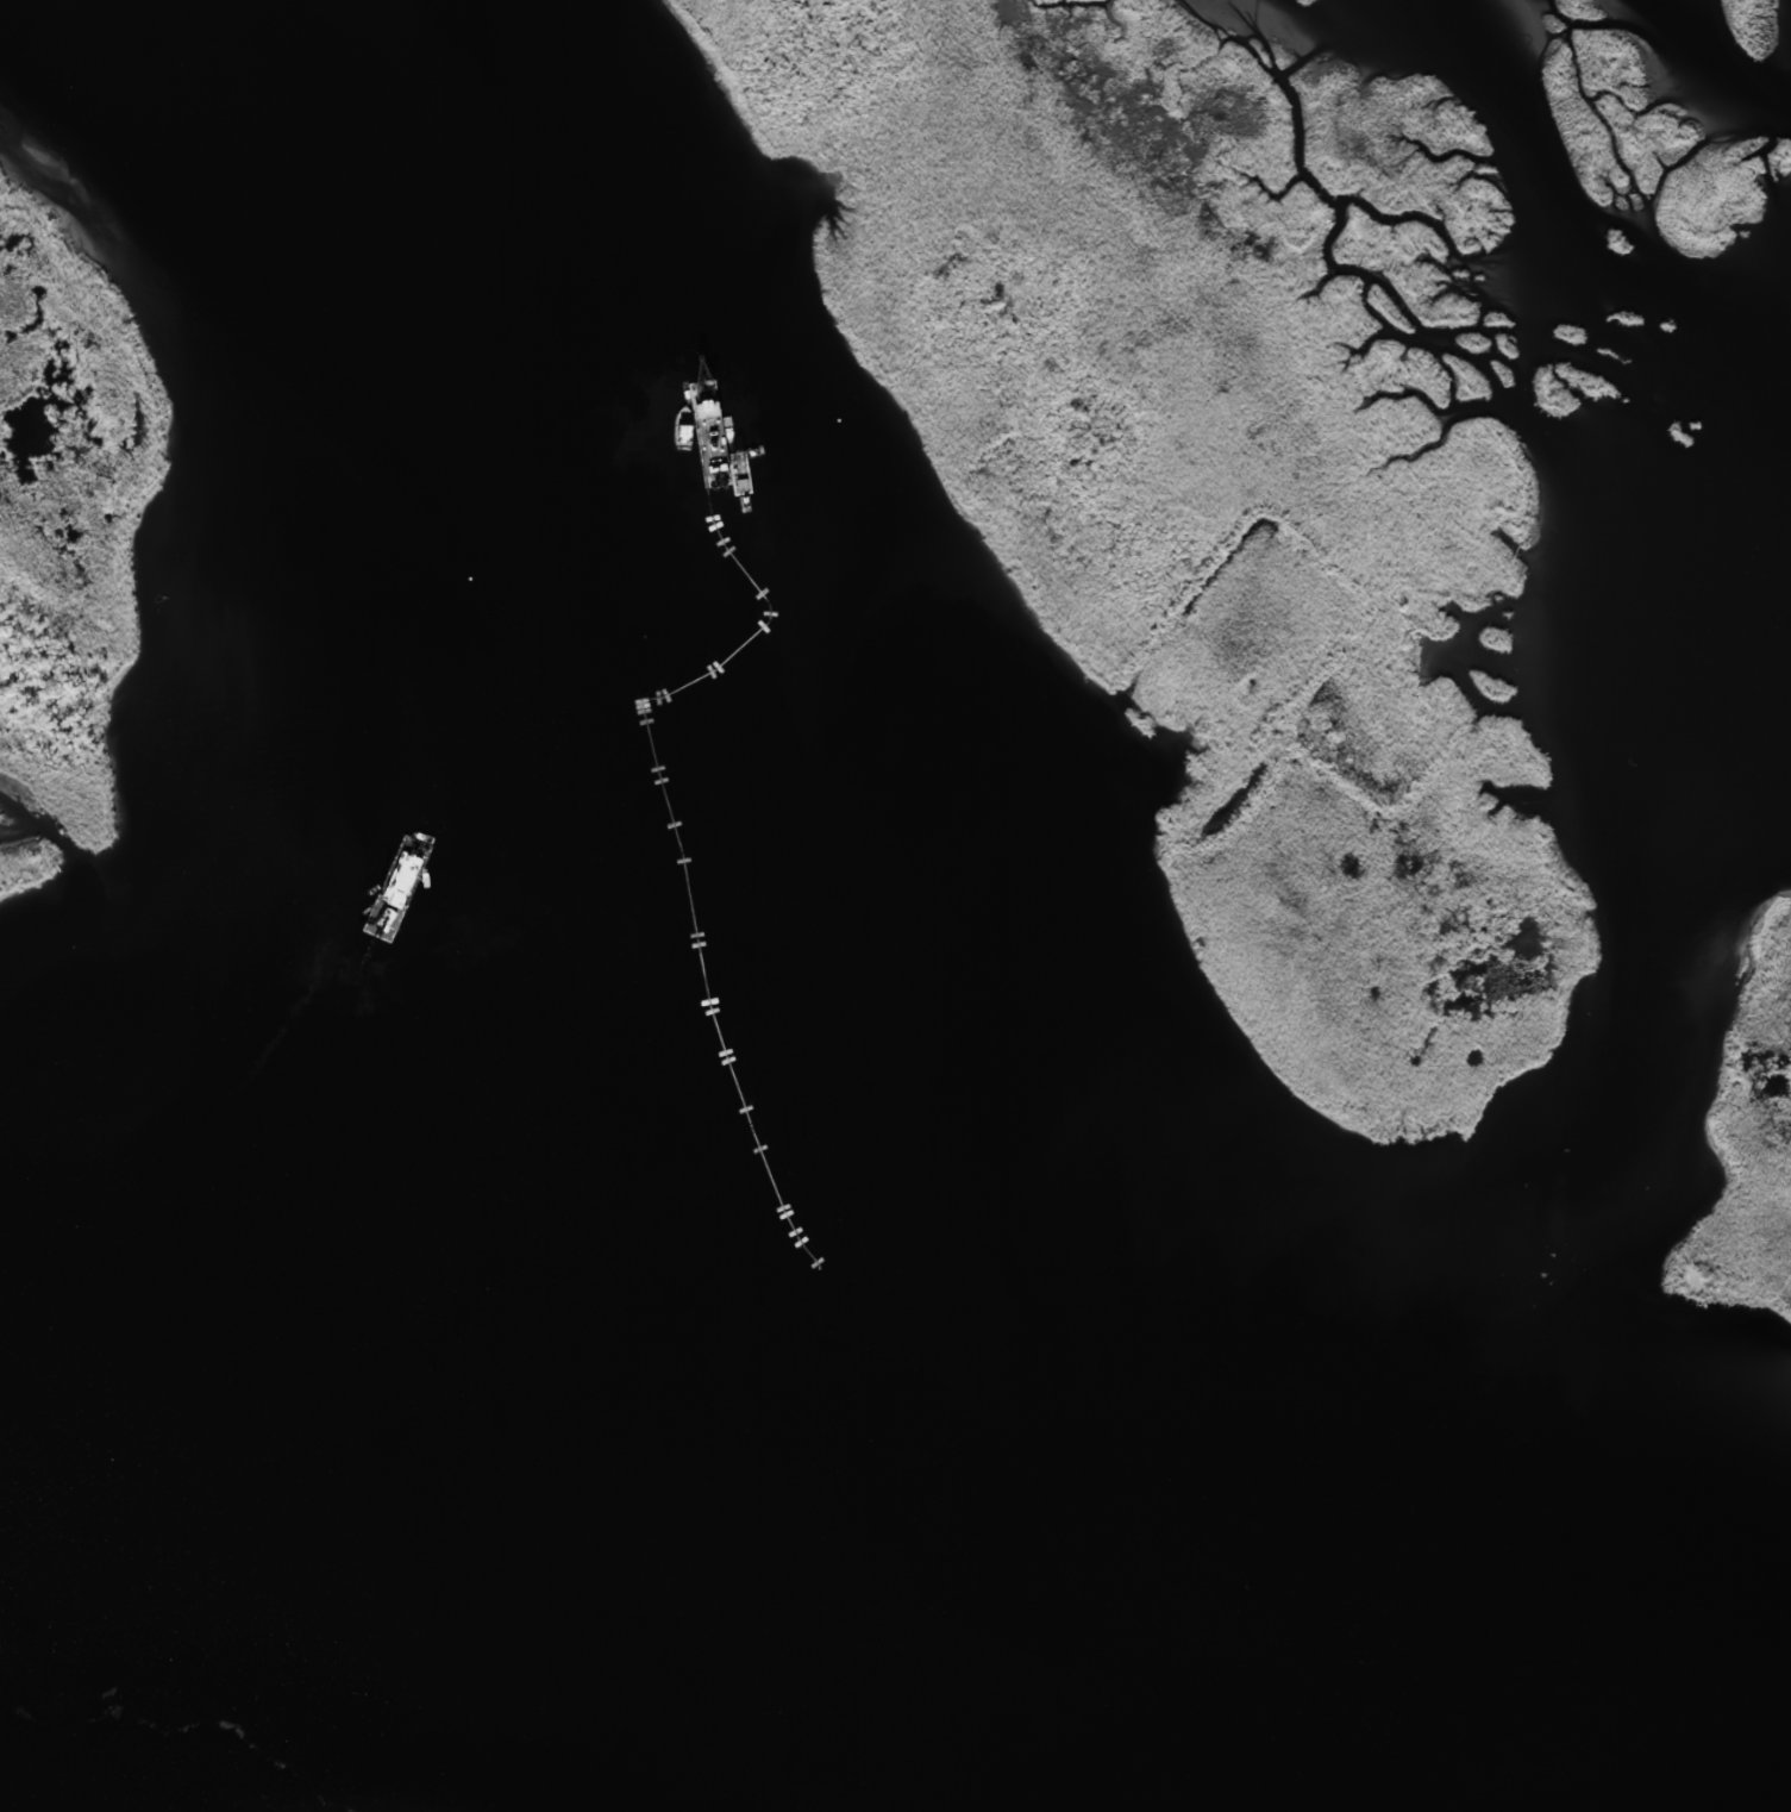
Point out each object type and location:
river: (462, 1731)

